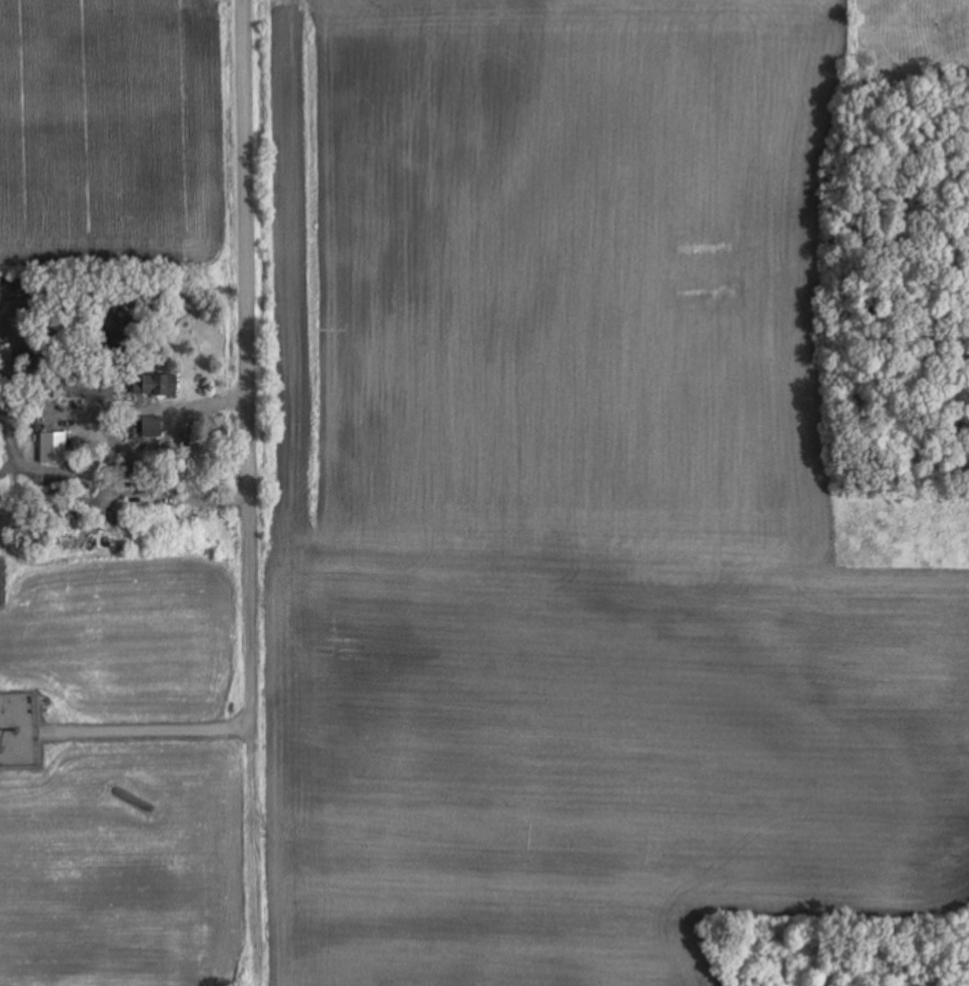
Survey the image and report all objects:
crop: (118, 131)
building: (155, 386)
road: (247, 389)
building: (151, 426)
building: (53, 448)
building: (65, 543)
crop: (500, 545)
building: (0, 751)

